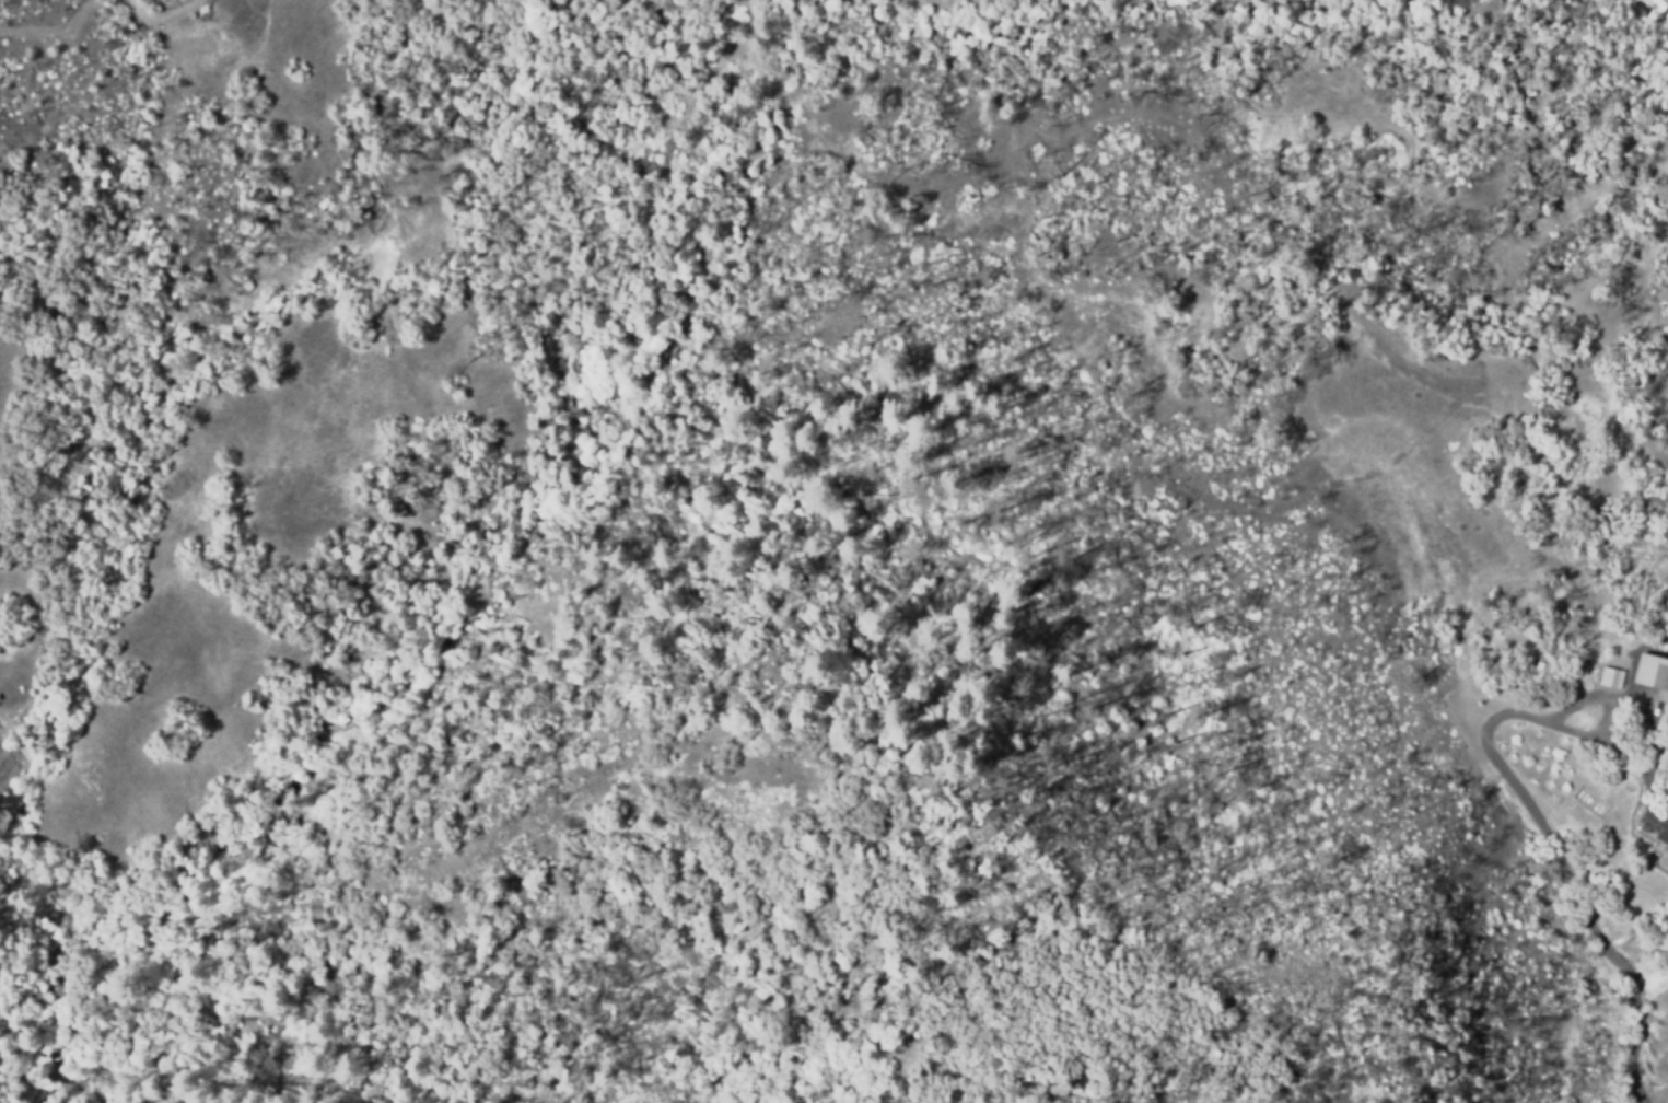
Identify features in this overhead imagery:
building: (1618, 670)
building: (1650, 673)
building: (1655, 824)
road: (1564, 868)

